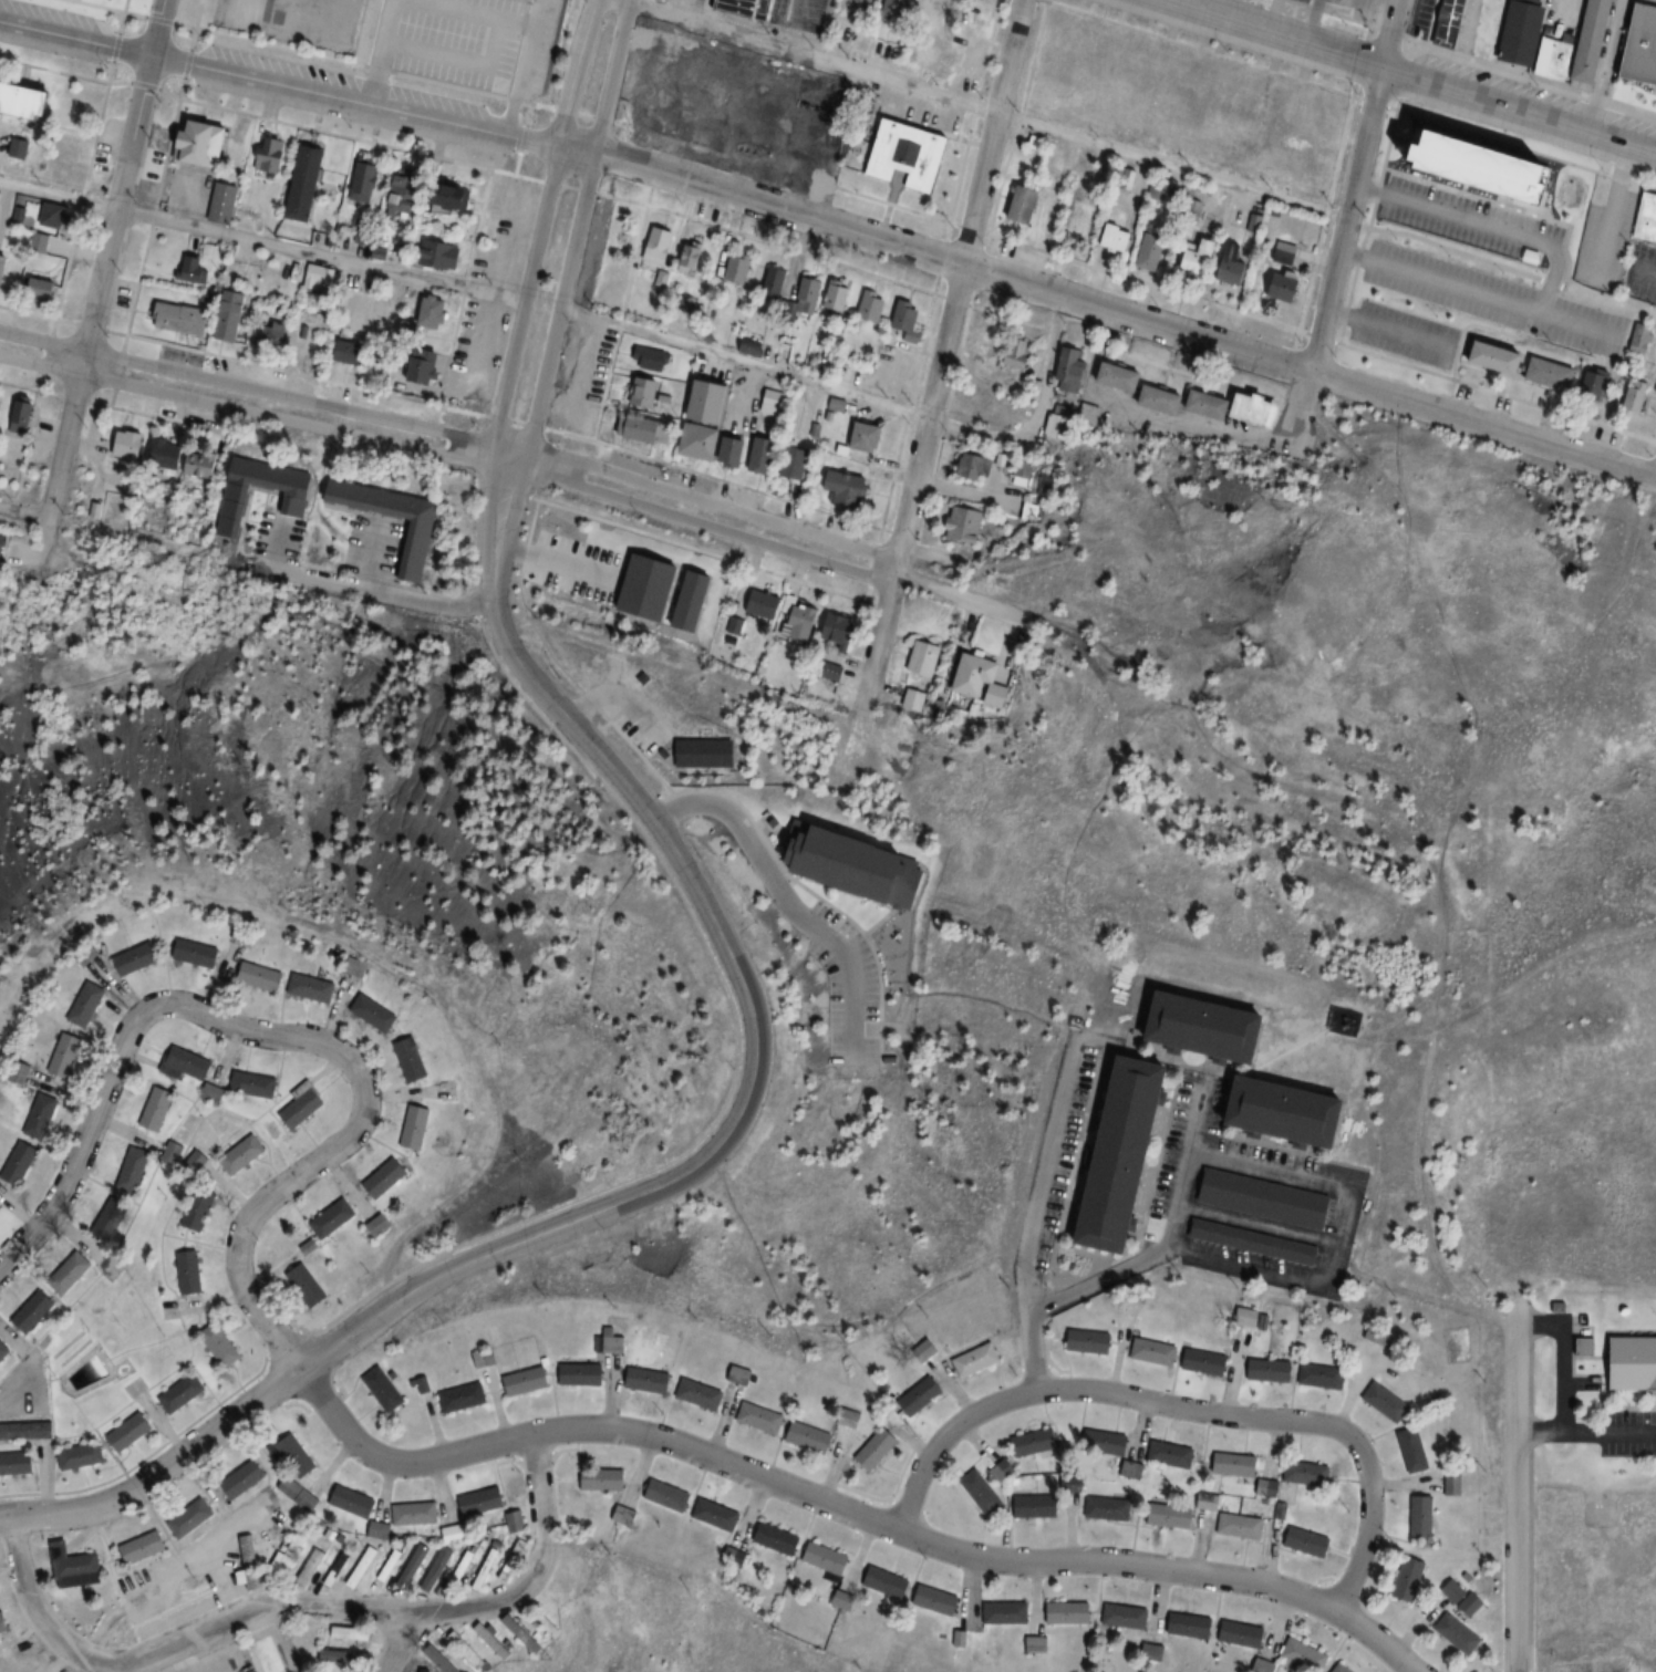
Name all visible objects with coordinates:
building: (1304, 0)
parking lot: (689, 1)
building: (865, 1)
building: (1529, 1)
building: (899, 6)
road: (105, 7)
building: (748, 9)
building: (931, 10)
road: (123, 11)
road: (473, 13)
parking lot: (800, 14)
road: (158, 18)
building: (1447, 22)
road: (194, 25)
road: (1387, 32)
building: (1512, 34)
building: (1064, 39)
building: (1583, 41)
parking lot: (468, 43)
road: (115, 45)
building: (1641, 49)
building: (1103, 50)
road: (382, 52)
road: (458, 58)
building: (1546, 60)
road: (186, 62)
building: (702, 62)
road: (361, 63)
road: (522, 63)
building: (931, 63)
building: (743, 65)
building: (1146, 67)
road: (573, 73)
road: (1411, 75)
road: (610, 77)
building: (1191, 80)
road: (108, 81)
building: (697, 82)
road: (145, 83)
road: (296, 89)
building: (835, 95)
road: (178, 96)
building: (28, 97)
building: (693, 102)
building: (1241, 102)
building: (1277, 106)
road: (982, 108)
building: (1200, 108)
building: (1045, 111)
building: (693, 124)
building: (1334, 125)
building: (786, 131)
road: (521, 137)
building: (205, 142)
building: (826, 146)
building: (19, 147)
building: (1215, 152)
building: (912, 153)
building: (1245, 153)
building: (269, 156)
road: (517, 163)
building: (1479, 166)
road: (87, 173)
road: (510, 173)
building: (1316, 179)
building: (362, 180)
building: (306, 183)
building: (1158, 191)
building: (404, 193)
building: (454, 195)
building: (1573, 198)
building: (224, 202)
road: (1513, 204)
building: (1024, 205)
road: (1613, 206)
building: (56, 215)
road: (1348, 218)
building: (1643, 218)
building: (1081, 220)
building: (1253, 222)
road: (1525, 231)
parking lot: (1606, 231)
building: (1117, 238)
building: (38, 240)
road: (260, 241)
building: (658, 243)
road: (1461, 248)
building: (1284, 250)
building: (1151, 251)
building: (439, 252)
building: (1199, 257)
building: (687, 258)
road: (103, 260)
building: (1389, 261)
building: (1234, 266)
building: (3, 267)
building: (736, 268)
parking lot: (1642, 268)
road: (1650, 268)
building: (190, 270)
building: (1424, 273)
parking lot: (1466, 273)
building: (315, 276)
road: (1442, 278)
building: (772, 282)
building: (1284, 285)
building: (40, 288)
building: (804, 293)
building: (836, 294)
road: (1607, 298)
building: (872, 305)
building: (1529, 310)
building: (431, 311)
building: (694, 311)
road: (1124, 314)
building: (232, 315)
building: (907, 315)
building: (179, 318)
road: (1388, 324)
building: (1377, 329)
road: (127, 333)
building: (276, 334)
building: (1637, 340)
road: (513, 342)
building: (986, 343)
building: (1440, 343)
building: (751, 346)
road: (548, 350)
building: (351, 351)
road: (943, 352)
building: (1017, 352)
building: (649, 357)
building: (1486, 359)
road: (743, 363)
building: (421, 367)
building: (1072, 372)
building: (1542, 374)
building: (1587, 387)
building: (643, 390)
road: (261, 392)
building: (1163, 393)
road: (745, 396)
building: (1627, 399)
building: (773, 403)
building: (996, 406)
building: (1261, 408)
building: (20, 414)
road: (258, 414)
road: (1038, 414)
building: (706, 418)
building: (1057, 423)
building: (645, 428)
road: (1222, 430)
building: (868, 436)
building: (125, 445)
building: (733, 449)
building: (763, 454)
building: (163, 456)
building: (796, 463)
building: (199, 465)
building: (974, 466)
building: (1023, 468)
building: (848, 489)
road: (961, 494)
building: (302, 496)
road: (710, 506)
road: (21, 515)
road: (705, 525)
building: (963, 525)
building: (2, 543)
road: (276, 543)
building: (421, 548)
road: (372, 557)
road: (241, 560)
building: (691, 581)
road: (381, 592)
road: (959, 594)
building: (713, 607)
building: (780, 609)
building: (581, 610)
building: (842, 629)
building: (922, 657)
building: (977, 679)
road: (744, 834)
building: (841, 861)
road: (694, 887)
building: (246, 935)
building: (197, 953)
building: (138, 958)
building: (358, 968)
building: (262, 977)
parking lot: (843, 985)
road: (849, 985)
building: (312, 988)
building: (86, 1004)
building: (376, 1014)
building: (1210, 1026)
road: (290, 1036)
building: (65, 1055)
building: (413, 1059)
building: (189, 1062)
building: (20, 1072)
building: (253, 1083)
building: (449, 1089)
building: (211, 1093)
building: (303, 1104)
building: (156, 1108)
building: (1290, 1110)
building: (40, 1115)
building: (416, 1126)
building: (173, 1152)
building: (1126, 1153)
building: (242, 1154)
road: (1053, 1157)
building: (19, 1162)
building: (134, 1169)
building: (386, 1177)
building: (1264, 1198)
building: (0, 1207)
building: (198, 1208)
building: (111, 1218)
building: (334, 1218)
building: (380, 1224)
building: (1253, 1242)
building: (188, 1271)
building: (69, 1273)
road: (1079, 1282)
building: (309, 1285)
building: (33, 1311)
road: (1033, 1326)
building: (1377, 1335)
building: (1090, 1341)
building: (611, 1342)
building: (220, 1344)
building: (1577, 1349)
building: (3, 1351)
building: (1153, 1351)
road: (1563, 1358)
building: (486, 1359)
building: (976, 1360)
building: (1205, 1362)
building: (1629, 1364)
road: (298, 1365)
building: (1270, 1370)
building: (582, 1374)
building: (1323, 1374)
building: (741, 1375)
road: (1587, 1375)
building: (648, 1381)
building: (384, 1390)
building: (182, 1393)
building: (700, 1395)
building: (921, 1395)
building: (464, 1398)
road: (1652, 1400)
building: (1387, 1402)
road: (1182, 1408)
road: (1613, 1409)
building: (759, 1417)
road: (1652, 1421)
building: (27, 1432)
building: (131, 1432)
parking lot: (1628, 1432)
road: (1585, 1433)
building: (809, 1437)
building: (1034, 1442)
building: (1106, 1442)
building: (878, 1448)
building: (1415, 1451)
building: (293, 1453)
building: (1171, 1454)
building: (81, 1456)
building: (17, 1465)
building: (1242, 1465)
building: (1002, 1470)
building: (1307, 1474)
building: (244, 1478)
building: (603, 1479)
building: (1452, 1484)
road: (1515, 1484)
building: (1267, 1487)
building: (981, 1491)
building: (669, 1495)
building: (353, 1502)
building: (482, 1502)
building: (1210, 1502)
building: (1038, 1506)
road: (849, 1507)
building: (1108, 1508)
building: (718, 1514)
building: (627, 1515)
building: (1170, 1516)
building: (1421, 1516)
building: (406, 1517)
building: (190, 1518)
building: (516, 1522)
building: (1241, 1525)
building: (453, 1534)
building: (329, 1535)
building: (778, 1538)
building: (297, 1539)
building: (1308, 1541)
building: (144, 1547)
building: (738, 1558)
building: (827, 1558)
building: (282, 1560)
building: (514, 1560)
building: (250, 1561)
building: (389, 1565)
building: (310, 1566)
building: (413, 1566)
building: (486, 1566)
building: (362, 1567)
building: (76, 1568)
building: (335, 1568)
building: (437, 1569)
building: (462, 1569)
building: (1410, 1579)
building: (887, 1582)
building: (1463, 1597)
building: (938, 1600)
road: (40, 1611)
road: (395, 1611)
building: (1006, 1612)
building: (1069, 1612)
building: (1126, 1616)
building: (3, 1622)
building: (1191, 1626)
building: (350, 1632)
building: (1459, 1633)
building: (1243, 1634)
building: (530, 1635)
road: (400, 1642)
building: (499, 1642)
building: (472, 1651)
building: (1306, 1654)
building: (348, 1657)
building: (1343, 1669)

